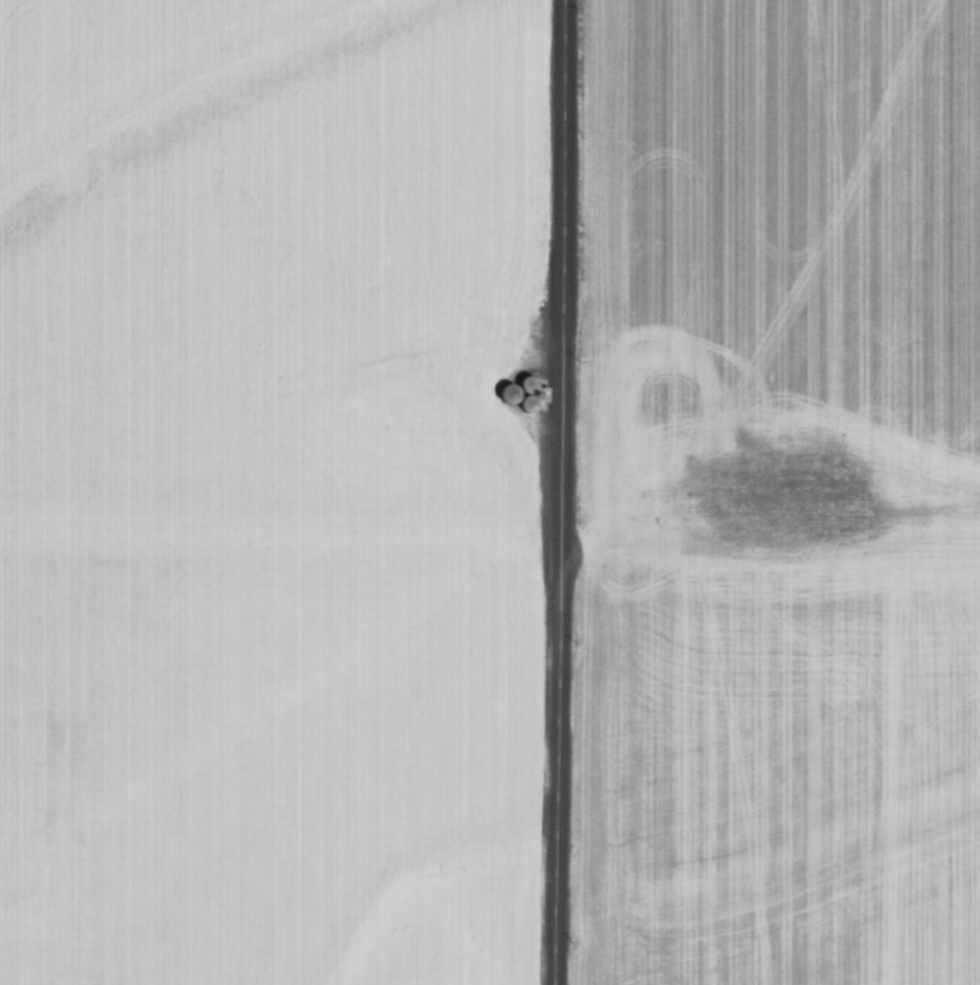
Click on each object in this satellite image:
road: (557, 492)

